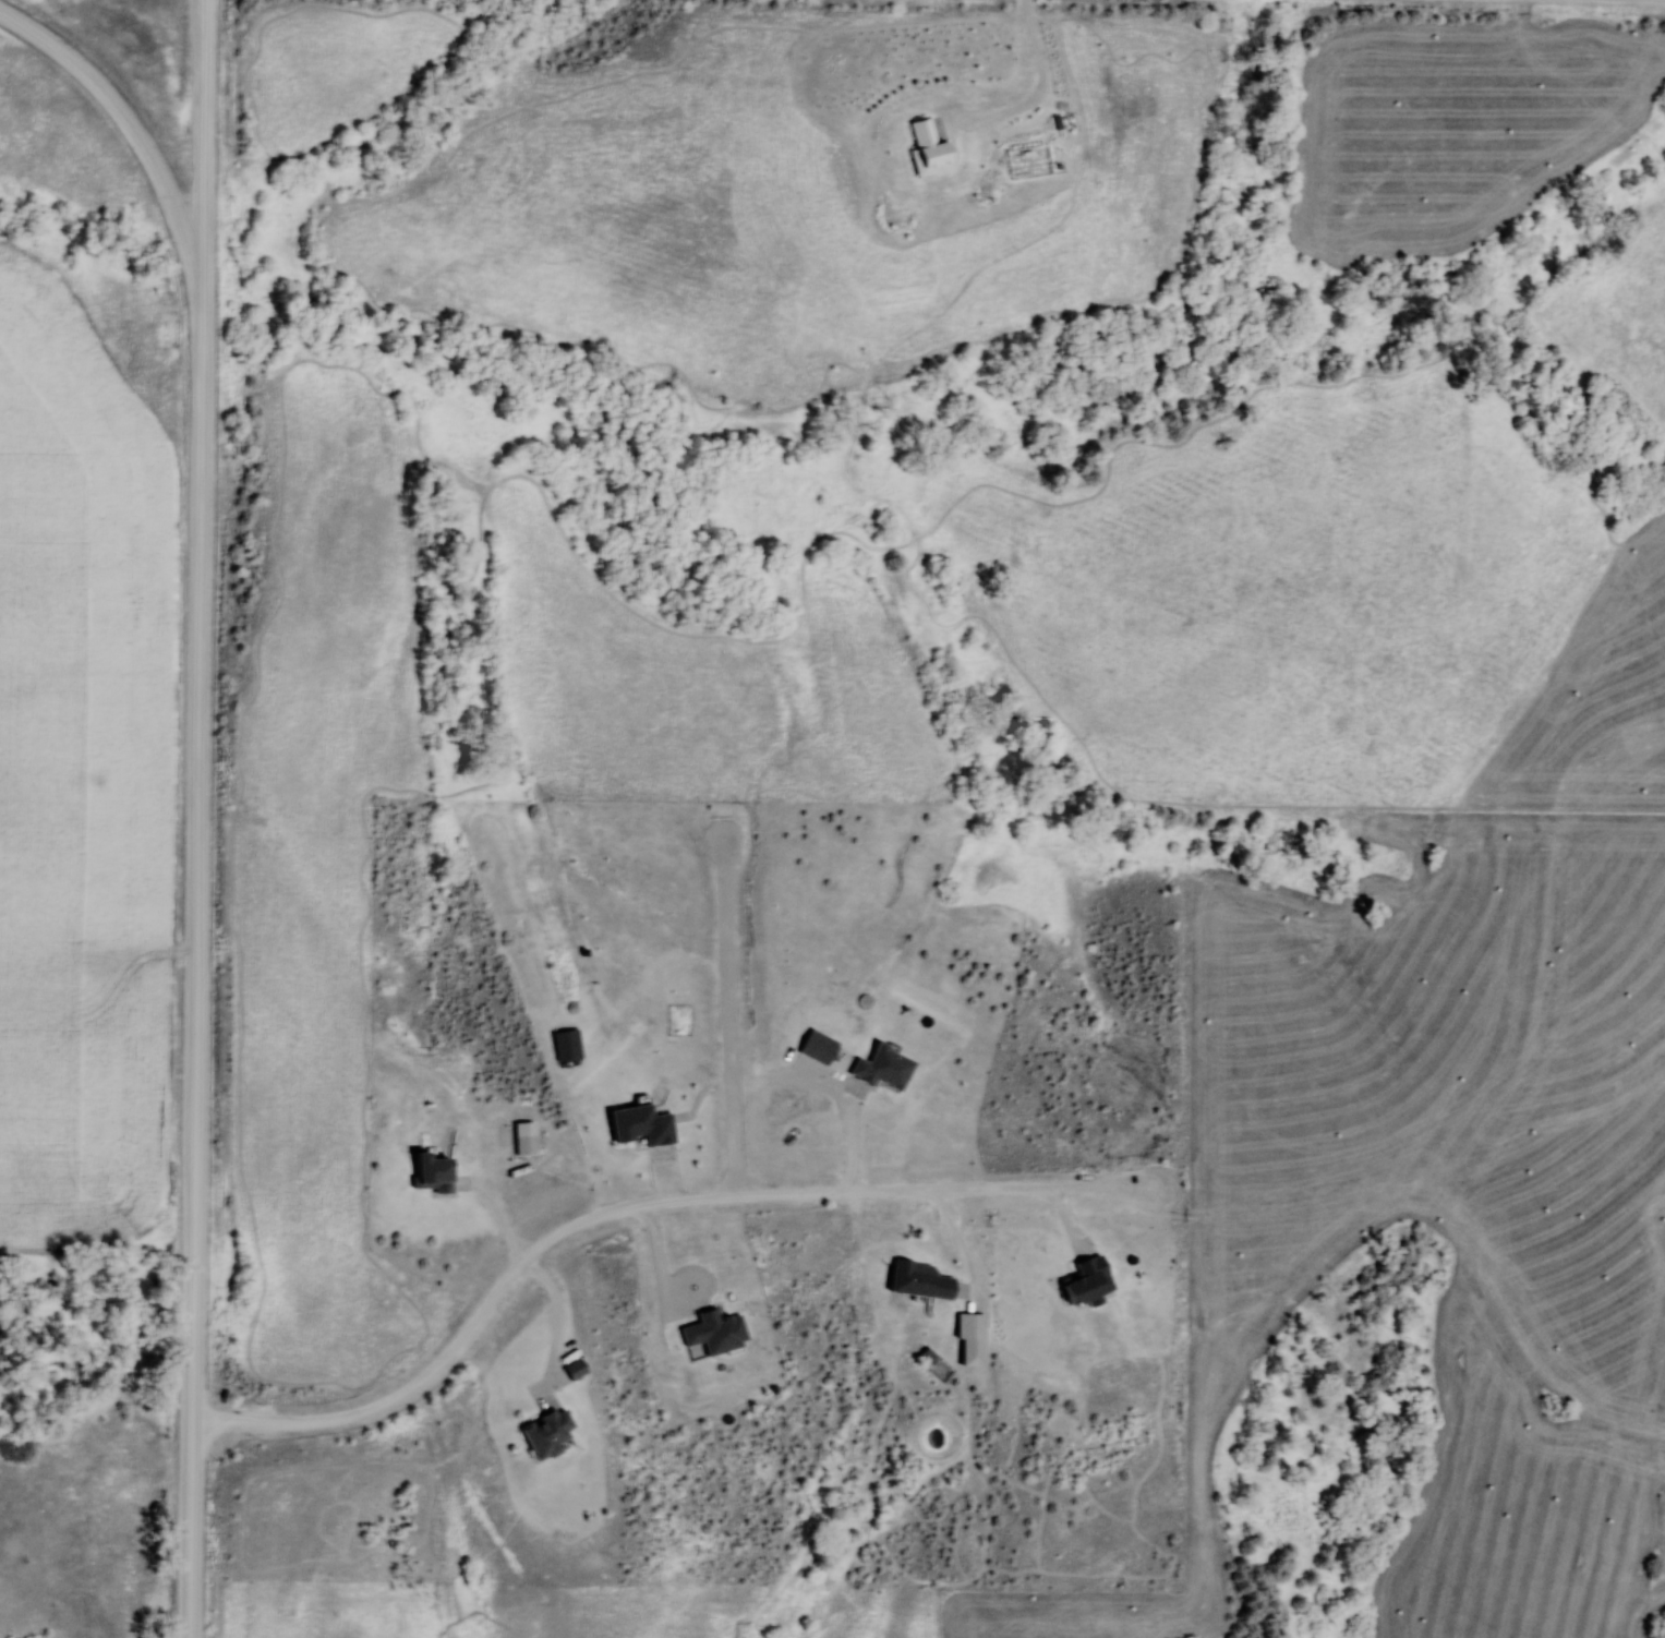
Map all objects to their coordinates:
road: (1040, 88)
road: (137, 131)
road: (204, 153)
road: (197, 862)
road: (726, 1019)
road: (849, 1121)
road: (800, 1197)
road: (498, 1215)
road: (965, 1248)
road: (672, 1293)
road: (557, 1306)
road: (359, 1412)
building: (539, 1434)
road: (191, 1503)
road: (189, 1613)

